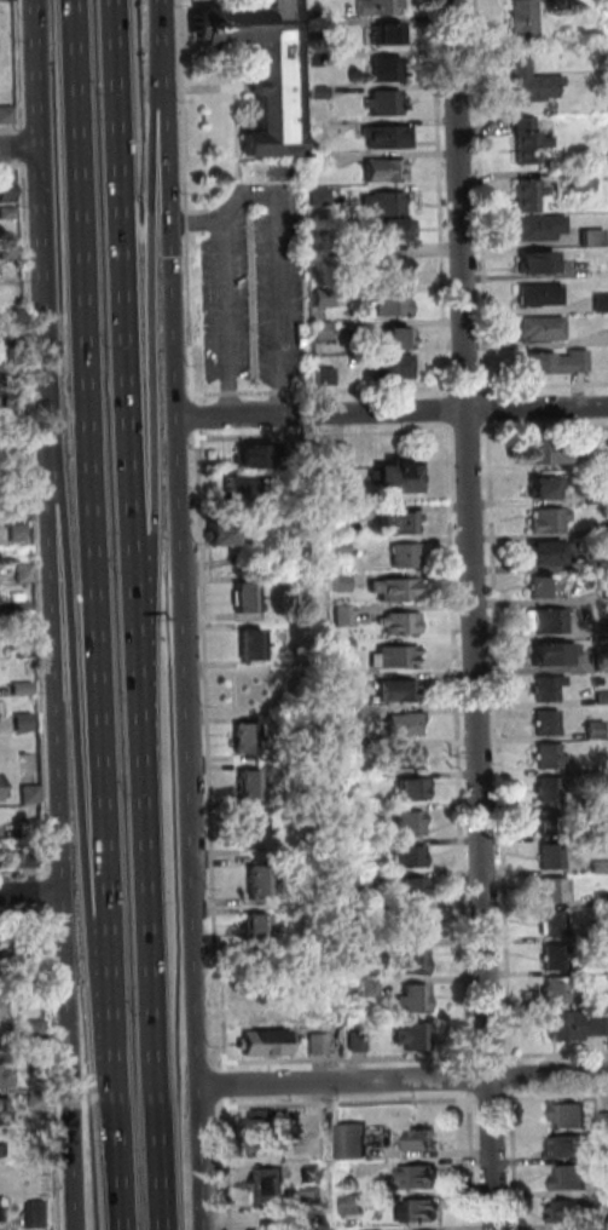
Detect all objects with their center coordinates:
building: (377, 7)
building: (526, 19)
road: (162, 29)
building: (317, 30)
building: (382, 31)
building: (317, 58)
building: (265, 68)
building: (388, 70)
road: (19, 75)
building: (532, 81)
road: (214, 87)
building: (320, 93)
building: (386, 103)
building: (6, 114)
building: (525, 123)
building: (319, 130)
road: (22, 131)
building: (392, 134)
road: (22, 146)
building: (532, 146)
road: (19, 148)
building: (323, 161)
road: (23, 162)
road: (234, 166)
building: (386, 169)
road: (41, 178)
building: (583, 180)
road: (253, 190)
building: (7, 192)
road: (481, 195)
building: (529, 195)
building: (322, 196)
road: (439, 196)
road: (238, 201)
road: (183, 202)
building: (388, 203)
building: (8, 213)
building: (540, 228)
building: (398, 230)
building: (592, 237)
building: (323, 243)
building: (8, 252)
building: (538, 261)
building: (395, 270)
road: (251, 291)
building: (11, 292)
building: (542, 294)
parking lot: (254, 299)
building: (325, 299)
building: (601, 303)
building: (394, 306)
building: (544, 328)
building: (325, 332)
building: (401, 338)
building: (12, 346)
road: (199, 351)
building: (579, 361)
road: (128, 363)
building: (545, 363)
building: (395, 366)
building: (8, 367)
building: (329, 375)
road: (118, 383)
road: (543, 384)
road: (33, 387)
road: (464, 387)
road: (366, 389)
road: (150, 392)
road: (255, 392)
road: (278, 392)
road: (228, 393)
road: (208, 395)
building: (15, 402)
road: (487, 407)
road: (445, 408)
road: (390, 412)
road: (196, 414)
road: (544, 426)
road: (467, 429)
road: (324, 432)
building: (16, 441)
building: (551, 450)
building: (312, 452)
building: (256, 456)
building: (340, 461)
building: (398, 477)
building: (546, 487)
building: (247, 488)
building: (597, 495)
road: (35, 510)
building: (340, 515)
building: (550, 519)
building: (401, 522)
building: (18, 533)
building: (225, 533)
road: (93, 544)
building: (341, 547)
building: (551, 551)
building: (409, 556)
building: (25, 573)
building: (343, 582)
building: (546, 586)
building: (398, 590)
building: (247, 597)
building: (22, 609)
building: (346, 615)
road: (470, 615)
building: (550, 620)
building: (403, 622)
road: (183, 644)
building: (254, 644)
building: (346, 645)
building: (24, 649)
building: (551, 654)
building: (396, 657)
building: (602, 657)
building: (596, 682)
building: (354, 683)
building: (549, 688)
building: (23, 689)
building: (399, 690)
building: (602, 697)
building: (370, 713)
building: (25, 722)
road: (80, 722)
building: (546, 723)
building: (407, 724)
building: (596, 730)
building: (248, 738)
road: (498, 741)
road: (456, 743)
road: (205, 748)
building: (349, 749)
building: (551, 757)
building: (407, 759)
building: (251, 786)
building: (0, 787)
building: (415, 789)
building: (552, 789)
road: (63, 793)
building: (31, 794)
building: (363, 815)
building: (552, 823)
building: (412, 824)
building: (29, 829)
building: (256, 833)
building: (353, 849)
building: (412, 857)
building: (552, 857)
building: (27, 860)
building: (601, 867)
road: (24, 874)
building: (264, 881)
building: (354, 885)
building: (413, 890)
building: (554, 890)
road: (31, 891)
road: (50, 891)
building: (602, 899)
building: (370, 909)
road: (24, 912)
building: (416, 924)
building: (556, 924)
building: (601, 929)
building: (259, 930)
building: (376, 948)
building: (34, 958)
building: (556, 958)
building: (416, 961)
road: (151, 978)
building: (371, 988)
building: (556, 992)
building: (36, 994)
building: (417, 999)
building: (601, 1001)
building: (0, 1007)
building: (568, 1027)
building: (600, 1027)
building: (36, 1029)
building: (416, 1036)
building: (359, 1042)
building: (268, 1044)
building: (320, 1045)
road: (555, 1052)
road: (344, 1059)
road: (54, 1067)
road: (510, 1074)
road: (467, 1075)
road: (546, 1076)
building: (2, 1079)
road: (224, 1081)
road: (341, 1082)
road: (556, 1093)
road: (490, 1096)
building: (37, 1099)
road: (349, 1100)
building: (2, 1111)
building: (572, 1116)
building: (604, 1121)
building: (265, 1133)
building: (40, 1134)
building: (355, 1142)
building: (425, 1142)
building: (572, 1148)
building: (5, 1151)
building: (607, 1156)
road: (117, 1159)
road: (470, 1159)
road: (511, 1159)
road: (227, 1162)
building: (352, 1169)
building: (314, 1177)
building: (424, 1177)
building: (573, 1178)
building: (272, 1188)
building: (314, 1192)
building: (355, 1205)
building: (5, 1212)
building: (422, 1212)
building: (573, 1212)
building: (42, 1215)
building: (315, 1218)
building: (279, 1225)

